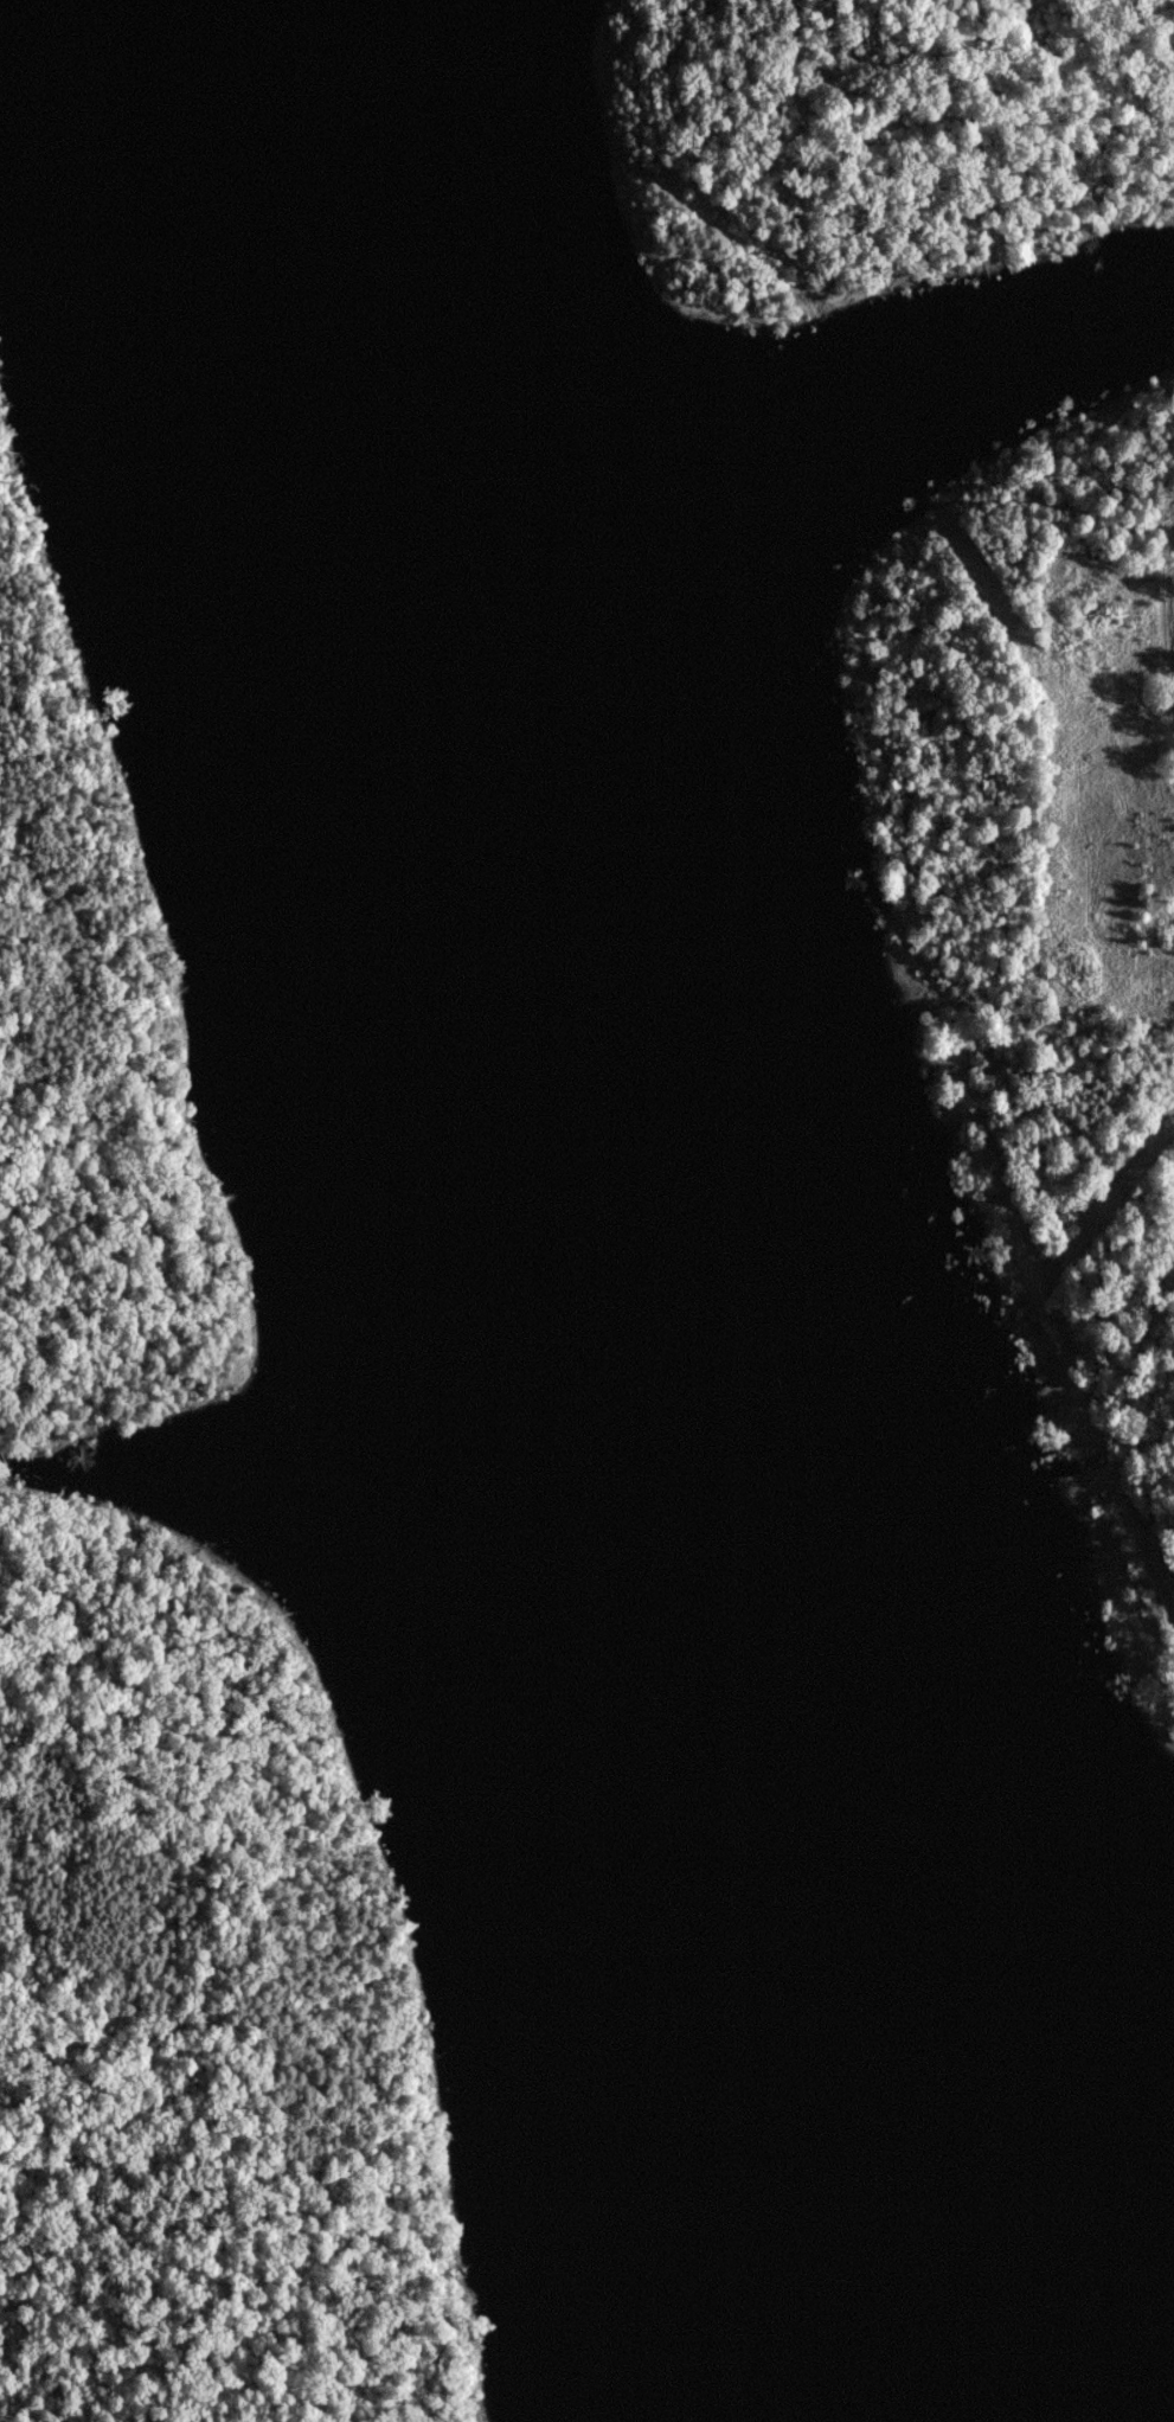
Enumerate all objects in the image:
road: (1162, 627)

